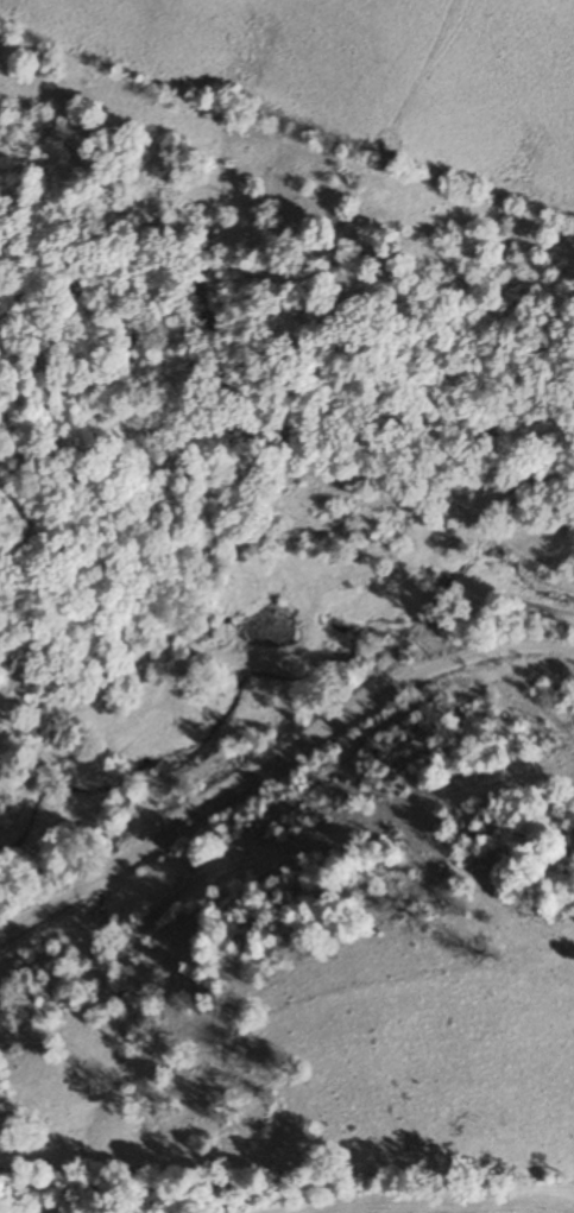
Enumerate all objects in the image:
road: (275, 758)

